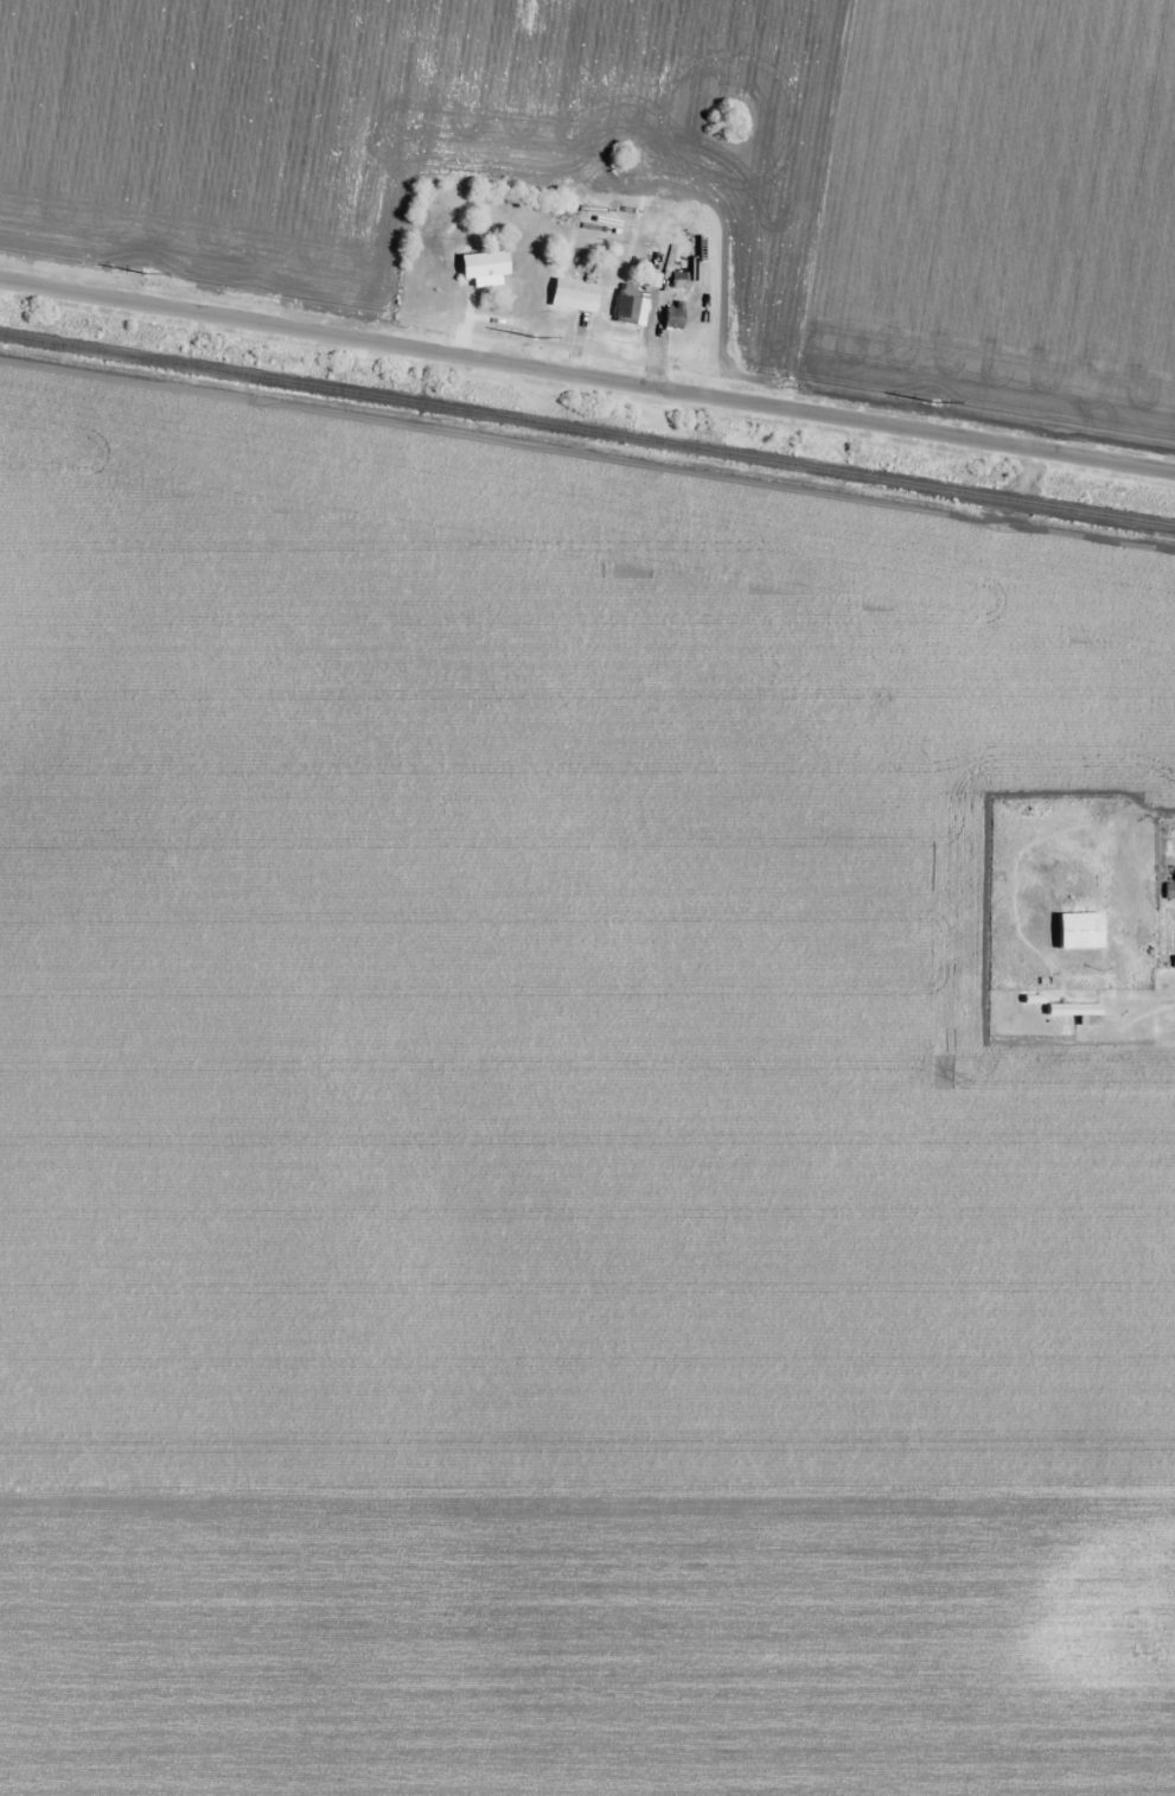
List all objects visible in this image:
building: (485, 265)
power tower: (140, 276)
building: (576, 292)
building: (630, 306)
building: (673, 317)
power tower: (536, 342)
road: (587, 376)
power tower: (933, 408)
railway: (587, 431)
building: (1170, 892)
building: (1080, 931)
building: (1079, 1014)

